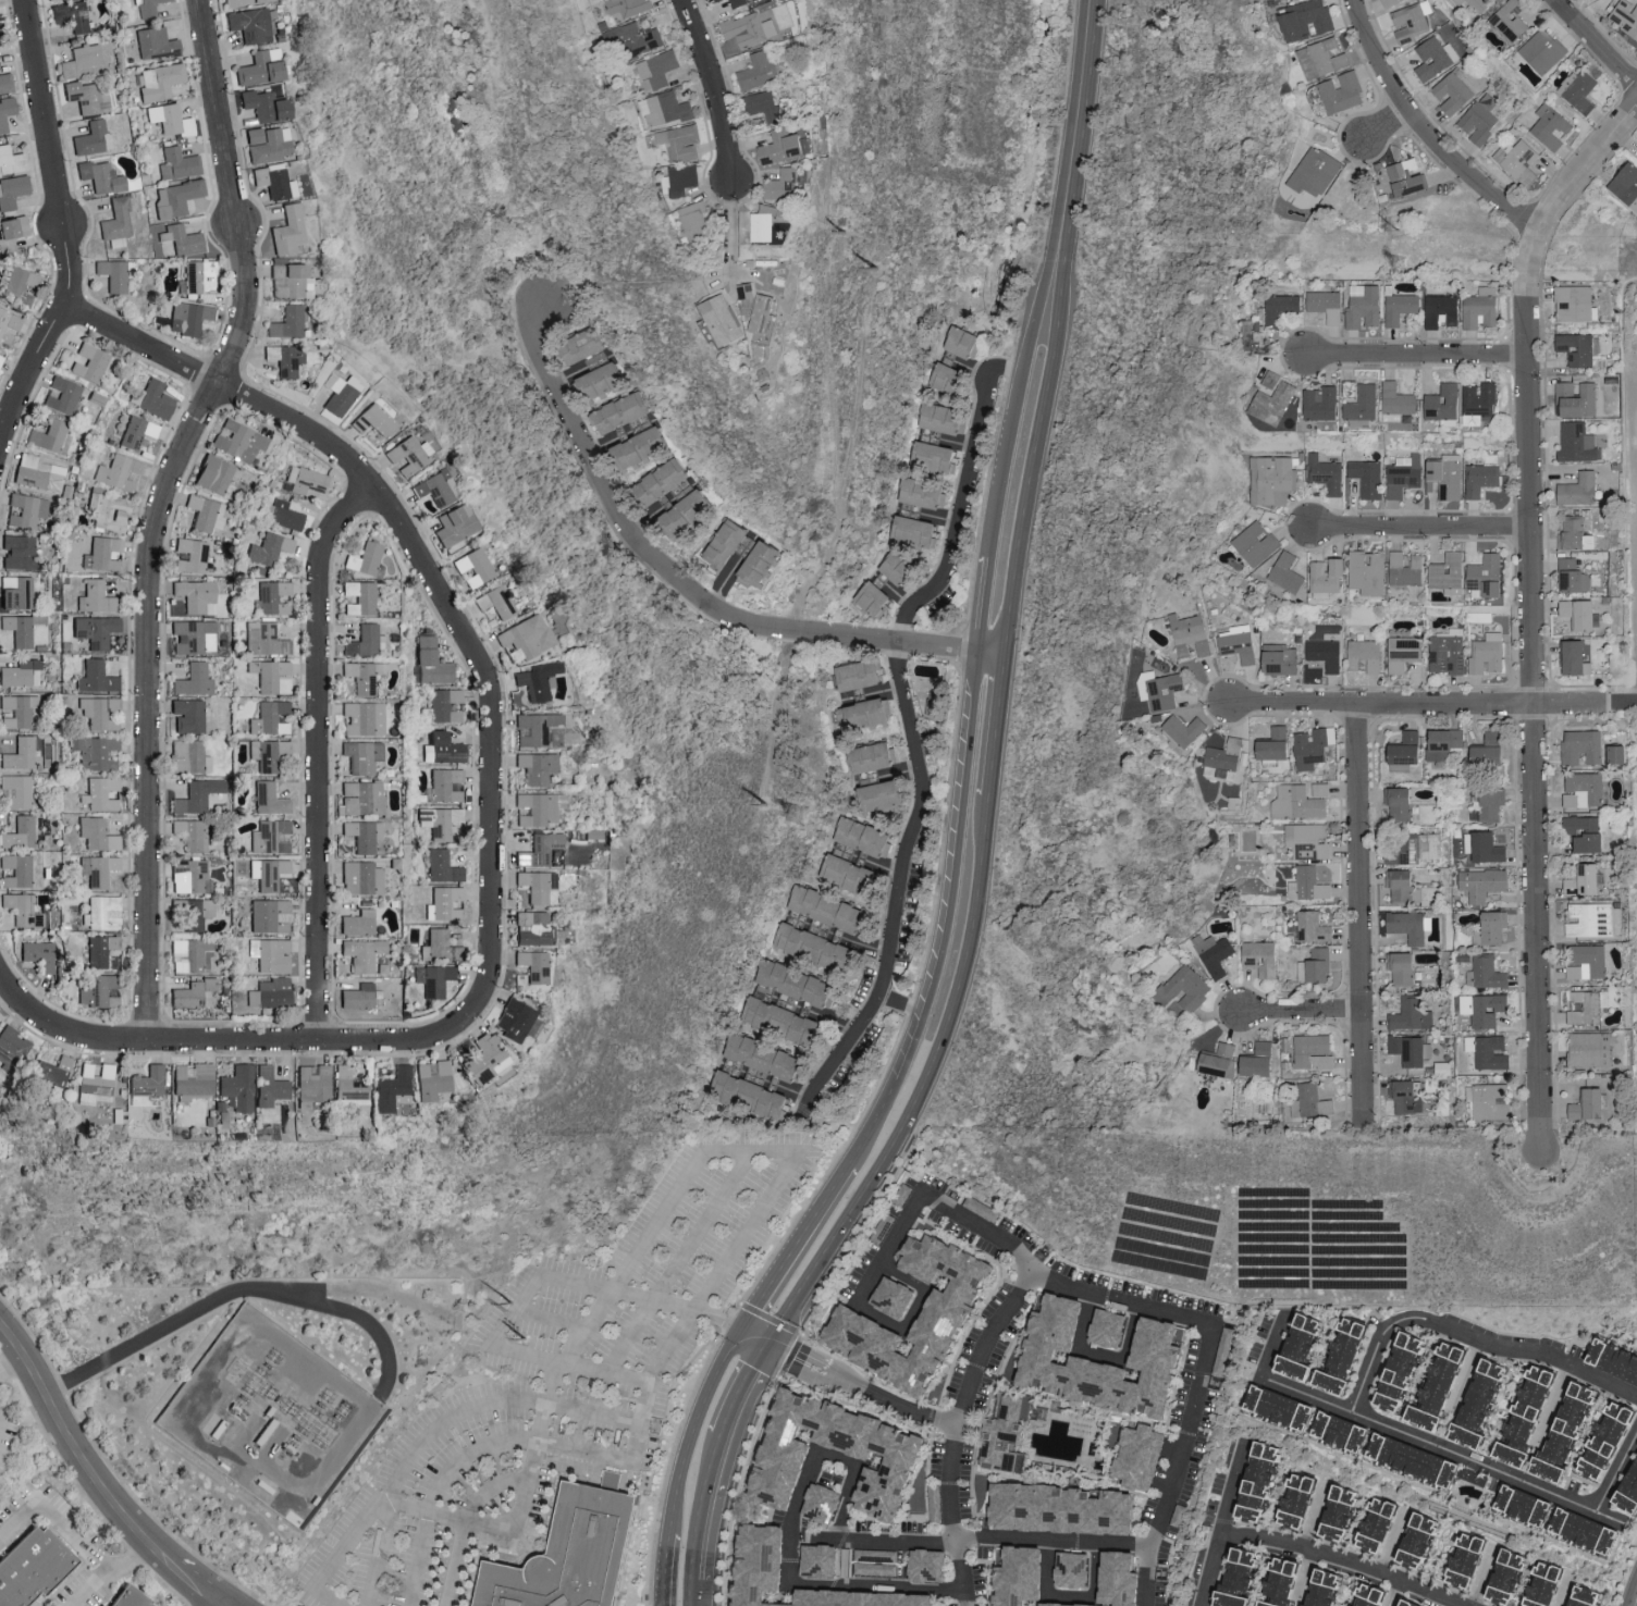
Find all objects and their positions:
building: (714, 0)
building: (243, 1)
building: (739, 2)
building: (1391, 2)
building: (1478, 4)
building: (630, 7)
building: (148, 8)
building: (73, 15)
building: (1627, 16)
building: (1309, 18)
building: (1514, 18)
building: (1413, 20)
building: (251, 24)
building: (747, 28)
building: (0, 33)
building: (640, 38)
building: (158, 42)
road: (1595, 42)
building: (1544, 50)
building: (1322, 58)
building: (82, 60)
building: (262, 66)
building: (657, 70)
building: (759, 71)
building: (161, 81)
building: (7, 82)
building: (1584, 86)
road: (713, 88)
building: (1344, 91)
building: (1453, 92)
building: (88, 97)
building: (1319, 101)
building: (268, 104)
building: (763, 104)
building: (665, 108)
building: (7, 112)
building: (1482, 118)
building: (171, 119)
building: (1552, 125)
road: (1382, 127)
road: (1075, 134)
road: (1423, 134)
building: (95, 137)
building: (681, 141)
building: (270, 143)
building: (784, 146)
building: (12, 160)
building: (1521, 161)
building: (180, 163)
road: (1585, 170)
building: (1317, 171)
building: (103, 176)
building: (1407, 176)
building: (275, 180)
building: (682, 180)
building: (785, 184)
building: (1626, 185)
building: (13, 190)
building: (179, 197)
building: (119, 222)
building: (696, 222)
building: (767, 222)
power tower: (1396, 227)
building: (288, 230)
building: (13, 232)
road: (64, 233)
road: (731, 235)
power tower: (851, 236)
building: (185, 238)
power tower: (1402, 264)
power tower: (879, 271)
building: (115, 273)
building: (201, 280)
building: (292, 280)
building: (19, 283)
building: (748, 289)
building: (1576, 302)
building: (1328, 305)
building: (1365, 306)
building: (1283, 307)
building: (1402, 307)
building: (1481, 307)
building: (1441, 310)
building: (763, 312)
building: (190, 317)
building: (723, 319)
building: (9, 321)
building: (288, 321)
building: (1253, 331)
building: (965, 342)
building: (590, 348)
building: (1580, 348)
road: (1416, 357)
building: (1, 358)
building: (286, 358)
building: (91, 362)
building: (948, 375)
building: (604, 381)
building: (1351, 387)
building: (342, 393)
building: (64, 395)
building: (155, 398)
building: (1276, 398)
building: (1579, 399)
building: (1398, 401)
building: (1321, 403)
building: (1481, 403)
building: (1445, 404)
building: (1364, 406)
road: (1014, 410)
building: (621, 411)
building: (945, 418)
building: (374, 420)
building: (635, 428)
building: (138, 431)
building: (52, 436)
building: (241, 441)
building: (1579, 442)
building: (643, 448)
building: (408, 455)
building: (936, 455)
road: (1033, 458)
building: (120, 471)
building: (40, 472)
building: (1326, 472)
building: (216, 473)
building: (1404, 474)
building: (1447, 475)
building: (1272, 477)
building: (1368, 477)
building: (1481, 479)
building: (309, 480)
building: (665, 480)
building: (436, 489)
building: (1581, 489)
building: (924, 493)
building: (676, 496)
road: (961, 497)
building: (1284, 497)
building: (29, 510)
building: (111, 511)
road: (159, 511)
building: (207, 512)
building: (286, 514)
building: (688, 514)
building: (457, 524)
road: (1420, 527)
building: (919, 530)
building: (1577, 534)
building: (1258, 542)
building: (729, 543)
building: (271, 547)
building: (20, 552)
road: (411, 553)
building: (103, 554)
building: (193, 555)
building: (366, 558)
building: (763, 564)
building: (476, 566)
building: (902, 568)
building: (1406, 568)
road: (669, 571)
building: (1368, 571)
building: (1289, 572)
building: (1449, 572)
building: (1329, 575)
building: (1489, 576)
building: (1576, 576)
building: (19, 591)
building: (197, 593)
building: (97, 596)
building: (275, 596)
building: (360, 597)
building: (876, 598)
building: (497, 602)
road: (983, 602)
building: (1585, 613)
building: (97, 630)
building: (1192, 634)
building: (196, 635)
building: (527, 638)
building: (266, 640)
building: (367, 640)
building: (1239, 642)
road: (990, 647)
building: (1448, 651)
building: (1404, 652)
building: (1327, 653)
building: (1488, 653)
building: (1366, 655)
building: (1577, 656)
building: (1282, 659)
building: (434, 662)
building: (23, 672)
building: (270, 672)
building: (864, 674)
building: (365, 675)
building: (98, 677)
building: (196, 679)
building: (540, 679)
building: (1162, 689)
road: (1533, 692)
road: (1624, 702)
road: (1628, 702)
road: (1634, 702)
building: (447, 704)
road: (1424, 705)
building: (20, 709)
building: (100, 712)
building: (867, 714)
building: (189, 715)
building: (271, 717)
building: (365, 718)
road: (997, 721)
building: (546, 729)
building: (1185, 729)
building: (1447, 743)
building: (1277, 744)
building: (1315, 746)
building: (1584, 746)
building: (445, 749)
building: (1491, 750)
building: (1408, 751)
building: (95, 752)
building: (22, 753)
building: (269, 753)
building: (190, 756)
road: (319, 756)
building: (364, 756)
building: (874, 756)
building: (1224, 757)
building: (539, 766)
building: (446, 786)
building: (1321, 789)
building: (19, 790)
building: (1586, 790)
building: (101, 793)
building: (883, 794)
building: (198, 795)
building: (271, 799)
building: (361, 799)
building: (1298, 802)
building: (1403, 803)
building: (1489, 803)
building: (541, 807)
power tower: (768, 807)
power tower: (800, 815)
building: (442, 820)
building: (22, 832)
building: (98, 833)
building: (193, 833)
building: (364, 833)
building: (1588, 833)
building: (865, 835)
building: (272, 836)
building: (1309, 839)
building: (541, 849)
building: (1415, 849)
building: (444, 866)
road: (955, 867)
building: (22, 868)
building: (99, 869)
building: (270, 872)
building: (851, 874)
building: (192, 876)
building: (362, 877)
building: (1586, 879)
building: (1485, 882)
building: (1309, 884)
building: (1403, 885)
building: (539, 886)
road: (898, 893)
building: (446, 903)
building: (24, 909)
building: (833, 909)
building: (102, 912)
building: (194, 912)
building: (272, 915)
building: (795, 916)
road: (1359, 917)
building: (1590, 919)
building: (360, 923)
building: (1410, 925)
building: (1315, 927)
building: (536, 928)
building: (1494, 928)
building: (438, 946)
building: (816, 947)
building: (101, 949)
building: (365, 953)
building: (1216, 953)
building: (40, 954)
building: (192, 954)
building: (272, 954)
building: (1264, 958)
building: (1588, 961)
building: (536, 964)
building: (1317, 965)
building: (1404, 967)
building: (1488, 972)
building: (439, 980)
building: (799, 983)
building: (1186, 989)
building: (98, 991)
building: (272, 992)
building: (196, 993)
building: (362, 996)
road: (901, 1005)
building: (1485, 1008)
road: (1301, 1010)
building: (1412, 1014)
building: (517, 1018)
building: (783, 1020)
road: (253, 1042)
building: (13, 1046)
building: (1411, 1049)
building: (1591, 1049)
building: (1490, 1050)
building: (1314, 1051)
building: (766, 1057)
building: (488, 1058)
building: (1221, 1060)
building: (1260, 1060)
building: (56, 1072)
building: (435, 1079)
building: (195, 1080)
building: (97, 1082)
building: (151, 1083)
building: (316, 1085)
building: (272, 1086)
road: (921, 1086)
building: (239, 1087)
building: (353, 1087)
building: (396, 1089)
building: (752, 1095)
building: (1407, 1095)
building: (1491, 1100)
building: (1312, 1101)
building: (1590, 1104)
road: (876, 1121)
building: (906, 1194)
road: (795, 1243)
road: (680, 1261)
road: (232, 1290)
building: (894, 1298)
road: (676, 1304)
power tower: (512, 1305)
road: (514, 1308)
road: (1155, 1311)
road: (550, 1318)
building: (943, 1320)
road: (689, 1321)
traffic signals: (741, 1326)
road: (586, 1327)
road: (902, 1327)
building: (1106, 1329)
road: (752, 1333)
road: (1468, 1338)
power tower: (527, 1341)
building: (1300, 1348)
building: (1356, 1352)
building: (1156, 1354)
road: (1101, 1355)
building: (1341, 1357)
building: (1614, 1359)
road: (17, 1360)
building: (1401, 1372)
parking lot: (564, 1376)
road: (1465, 1378)
road: (1273, 1383)
road: (738, 1386)
building: (1436, 1386)
road: (857, 1389)
road: (1554, 1406)
building: (1479, 1407)
building: (1278, 1409)
building: (1524, 1418)
power substation: (274, 1419)
road: (444, 1422)
road: (693, 1423)
road: (957, 1429)
building: (1010, 1432)
building: (1337, 1433)
building: (1563, 1433)
building: (1605, 1442)
road: (553, 1445)
building: (1136, 1457)
building: (783, 1458)
building: (1413, 1463)
road: (1487, 1466)
road: (98, 1467)
road: (1616, 1472)
building: (1257, 1484)
building: (1627, 1496)
building: (1294, 1503)
building: (822, 1505)
road: (700, 1506)
building: (1521, 1506)
road: (447, 1514)
building: (1062, 1514)
building: (1337, 1514)
building: (1552, 1514)
road: (1313, 1516)
road: (1223, 1524)
building: (1376, 1524)
building: (1583, 1532)
road: (348, 1535)
road: (982, 1536)
road: (1393, 1542)
building: (1419, 1542)
road: (74, 1543)
road: (789, 1544)
road: (417, 1557)
building: (579, 1557)
road: (1345, 1558)
building: (1466, 1559)
building: (878, 1561)
building: (758, 1564)
building: (817, 1564)
road: (664, 1566)
building: (34, 1567)
building: (926, 1567)
building: (1076, 1570)
road: (1305, 1574)
road: (1484, 1576)
building: (1018, 1577)
building: (1121, 1578)
building: (1239, 1578)
building: (1506, 1578)
building: (1280, 1582)
building: (1543, 1585)
road: (1632, 1589)
road: (87, 1590)
building: (1322, 1590)
road: (1565, 1591)
road: (691, 1593)
road: (1395, 1593)
road: (1071, 1595)
building: (1367, 1595)
building: (1585, 1597)
building: (134, 1598)
building: (857, 1601)
building: (1405, 1604)
building: (1418, 1604)
building: (106, 1605)
building: (1071, 1605)

